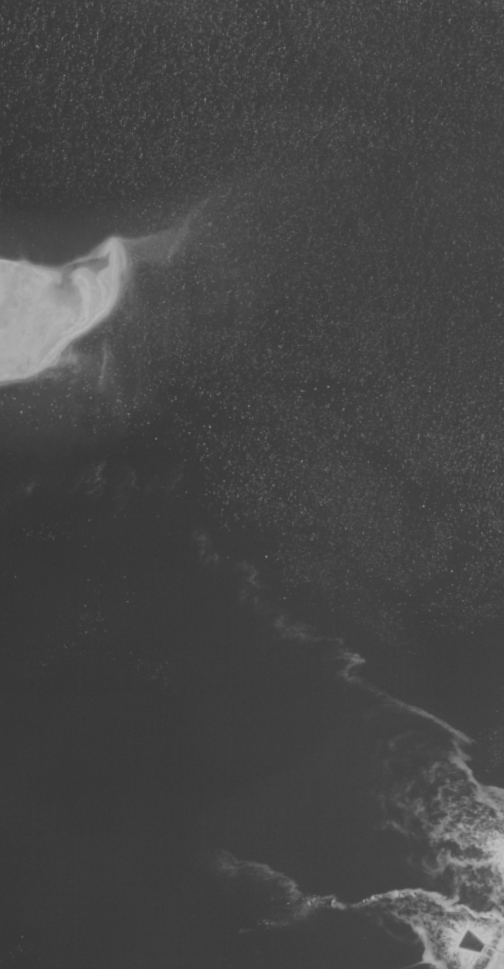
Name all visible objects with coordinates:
power plant: (252, 484)
road: (503, 967)

